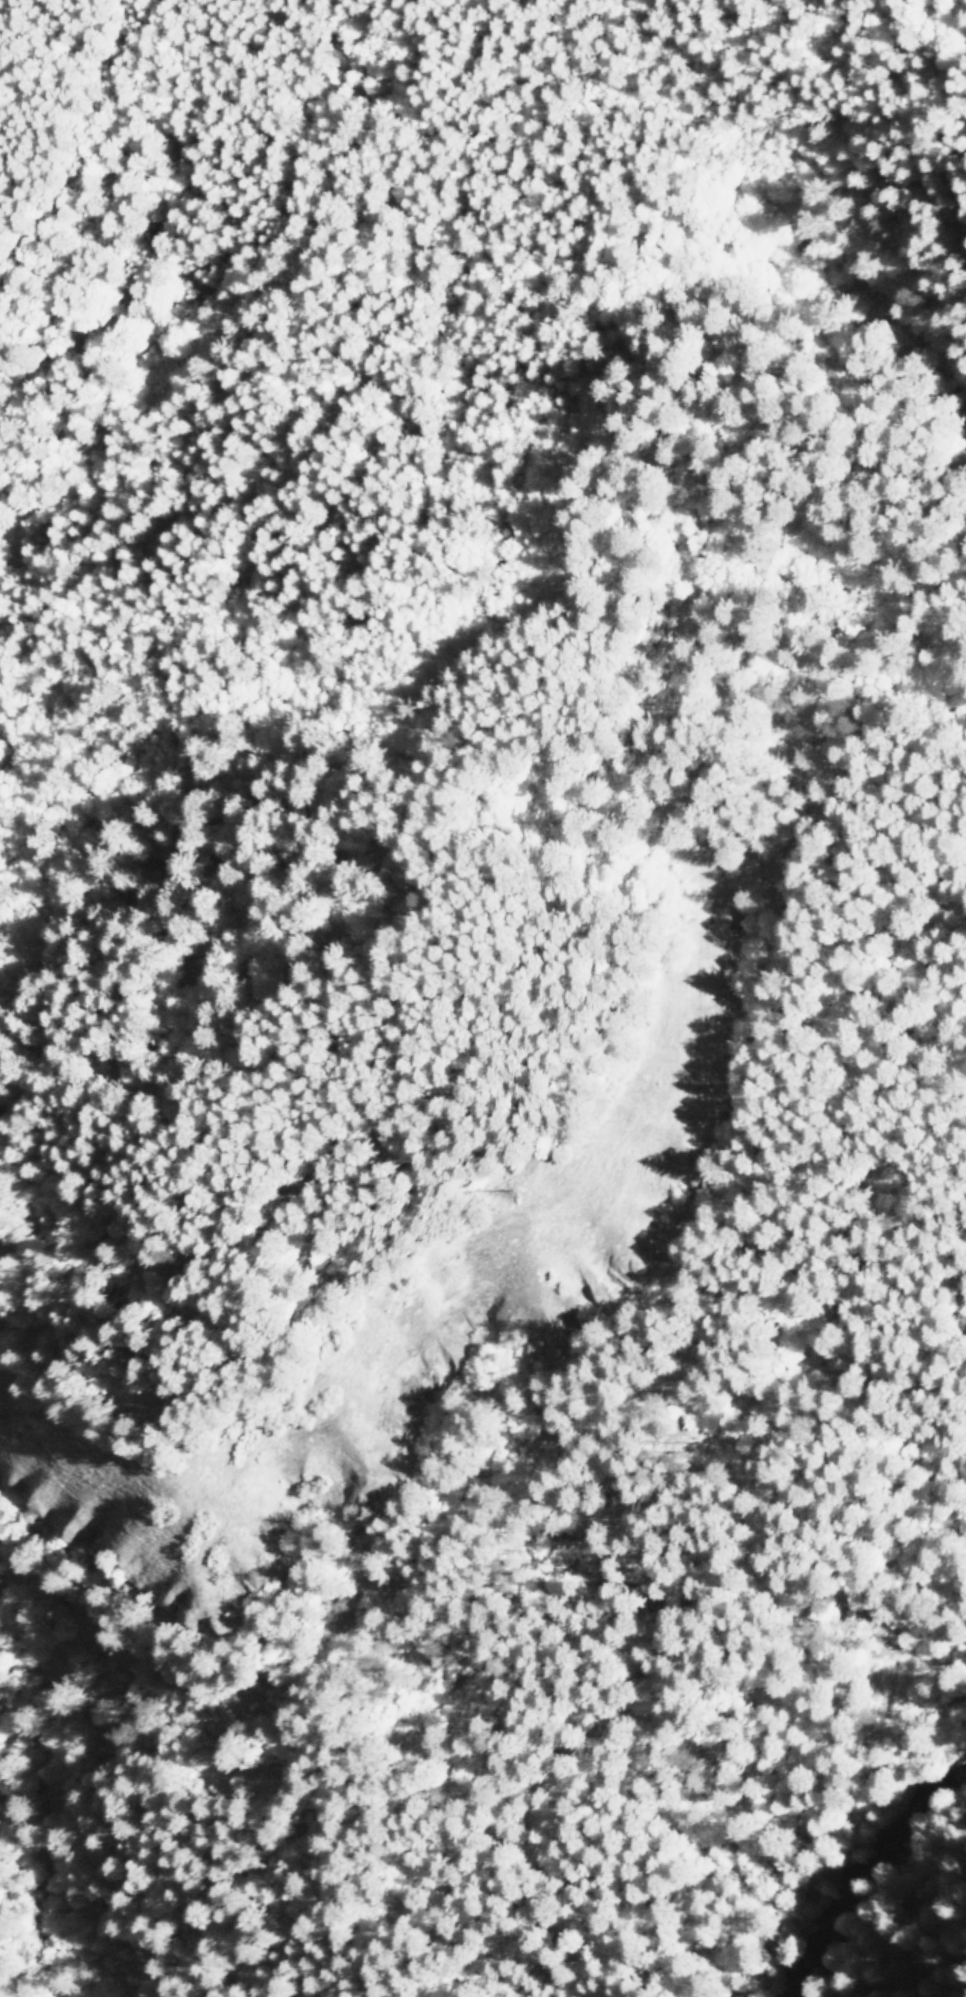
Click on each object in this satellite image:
road: (62, 346)
river: (856, 1863)

